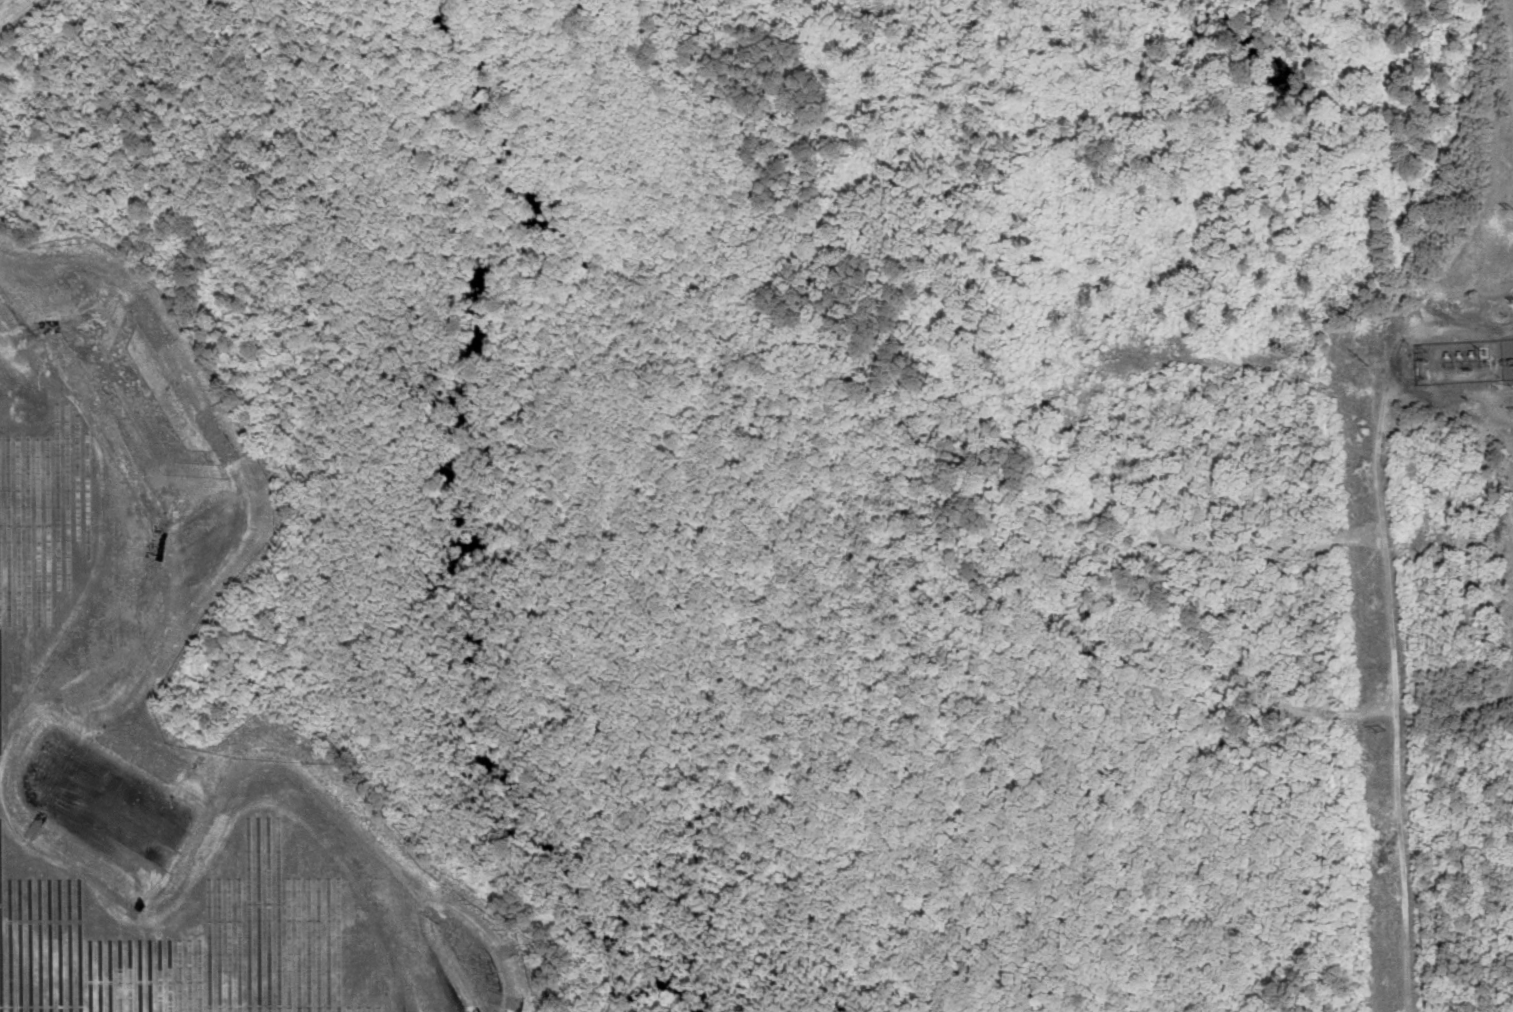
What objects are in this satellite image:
power tower: (1421, 357)
power tower: (1361, 359)
power substation: (1464, 363)
power tower: (1383, 729)

